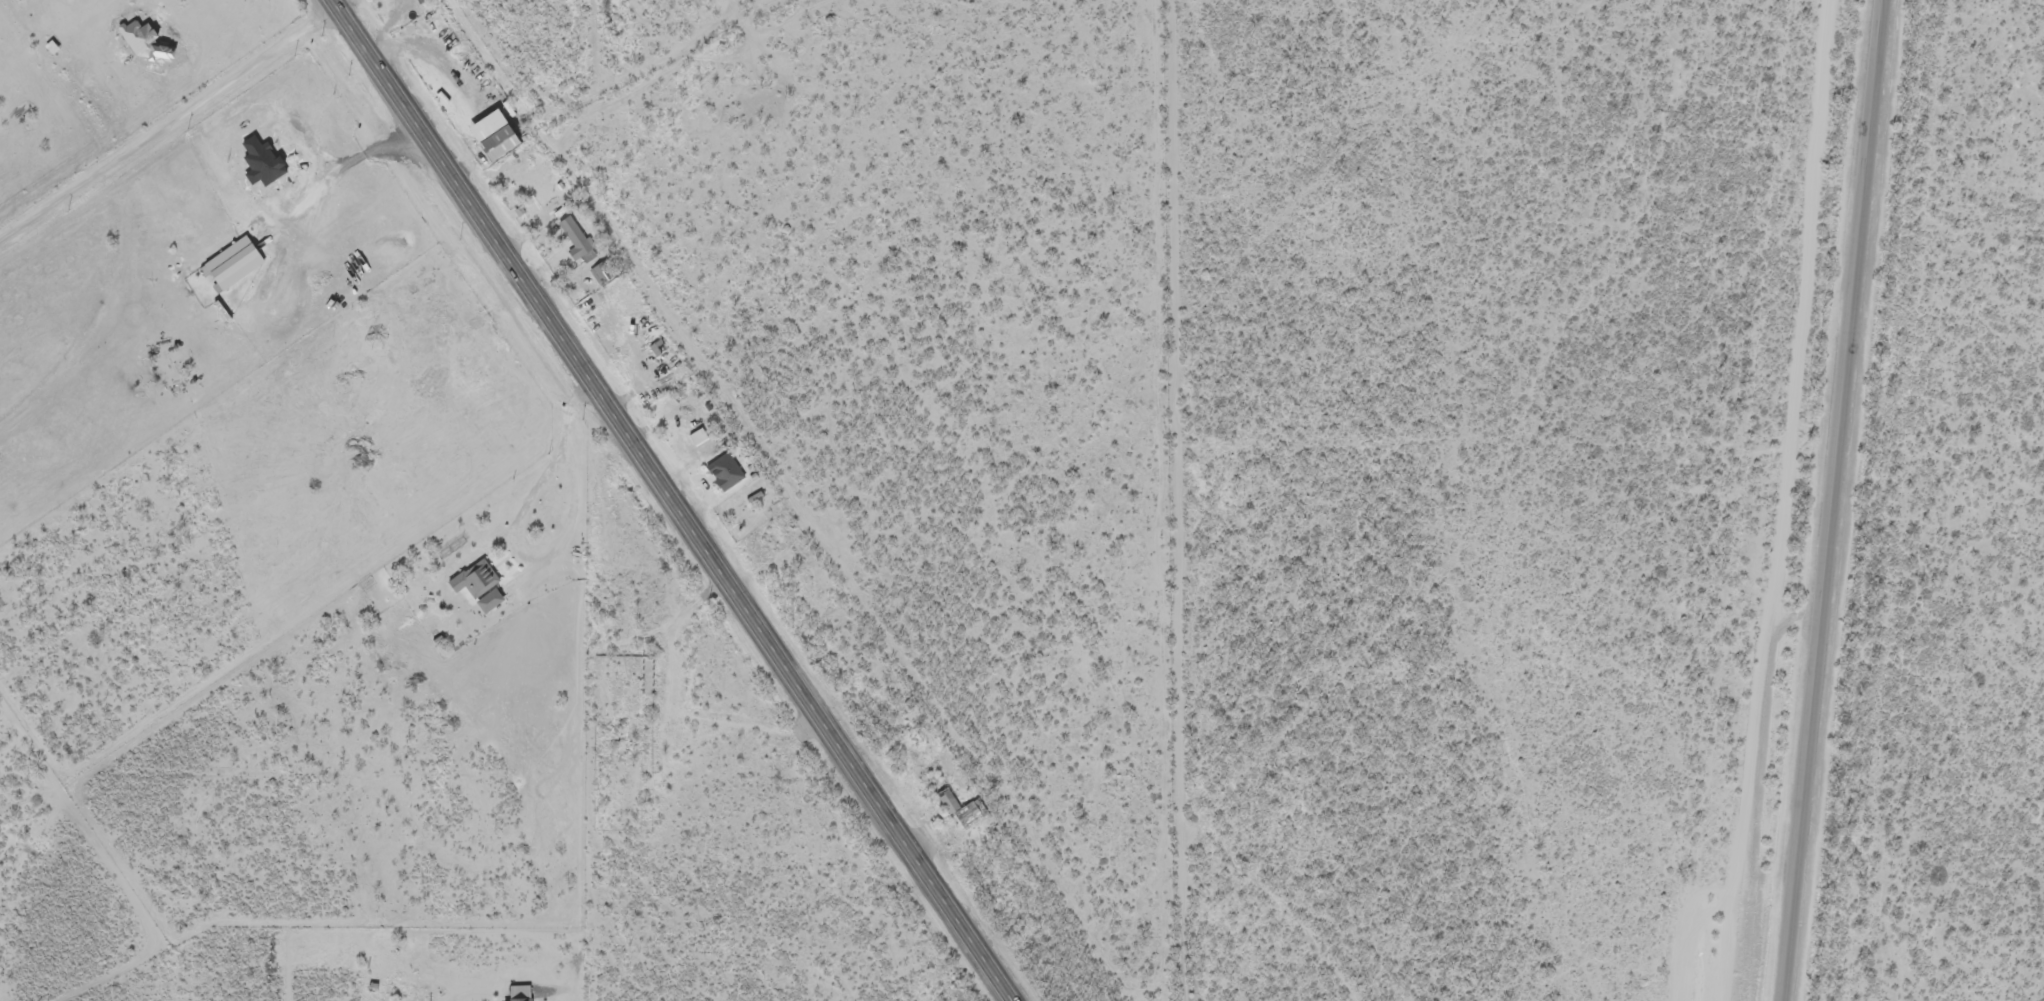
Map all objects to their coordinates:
road: (641, 89)
building: (491, 144)
building: (571, 241)
building: (595, 275)
building: (368, 336)
building: (718, 473)
road: (1835, 500)
road: (669, 502)
building: (472, 589)
building: (955, 811)

